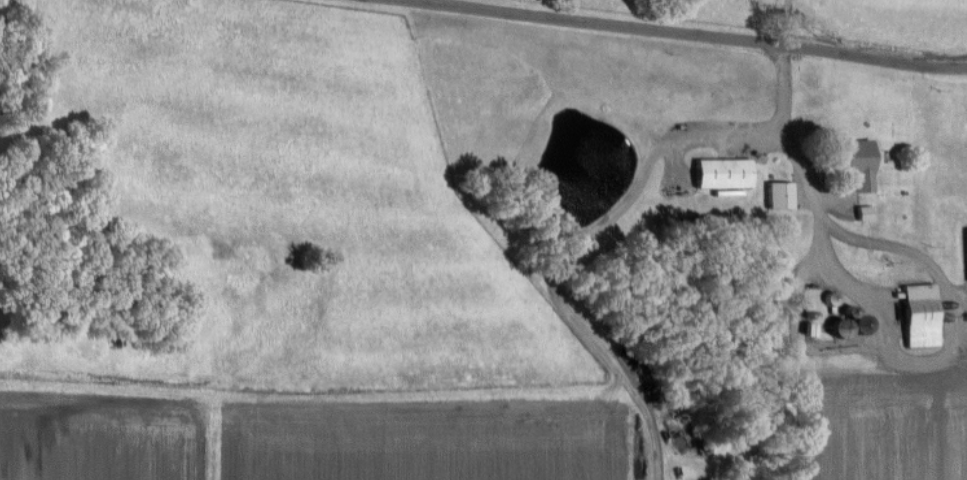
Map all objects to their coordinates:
road: (662, 32)
building: (861, 163)
building: (725, 173)
building: (781, 195)
building: (865, 212)
building: (922, 315)

